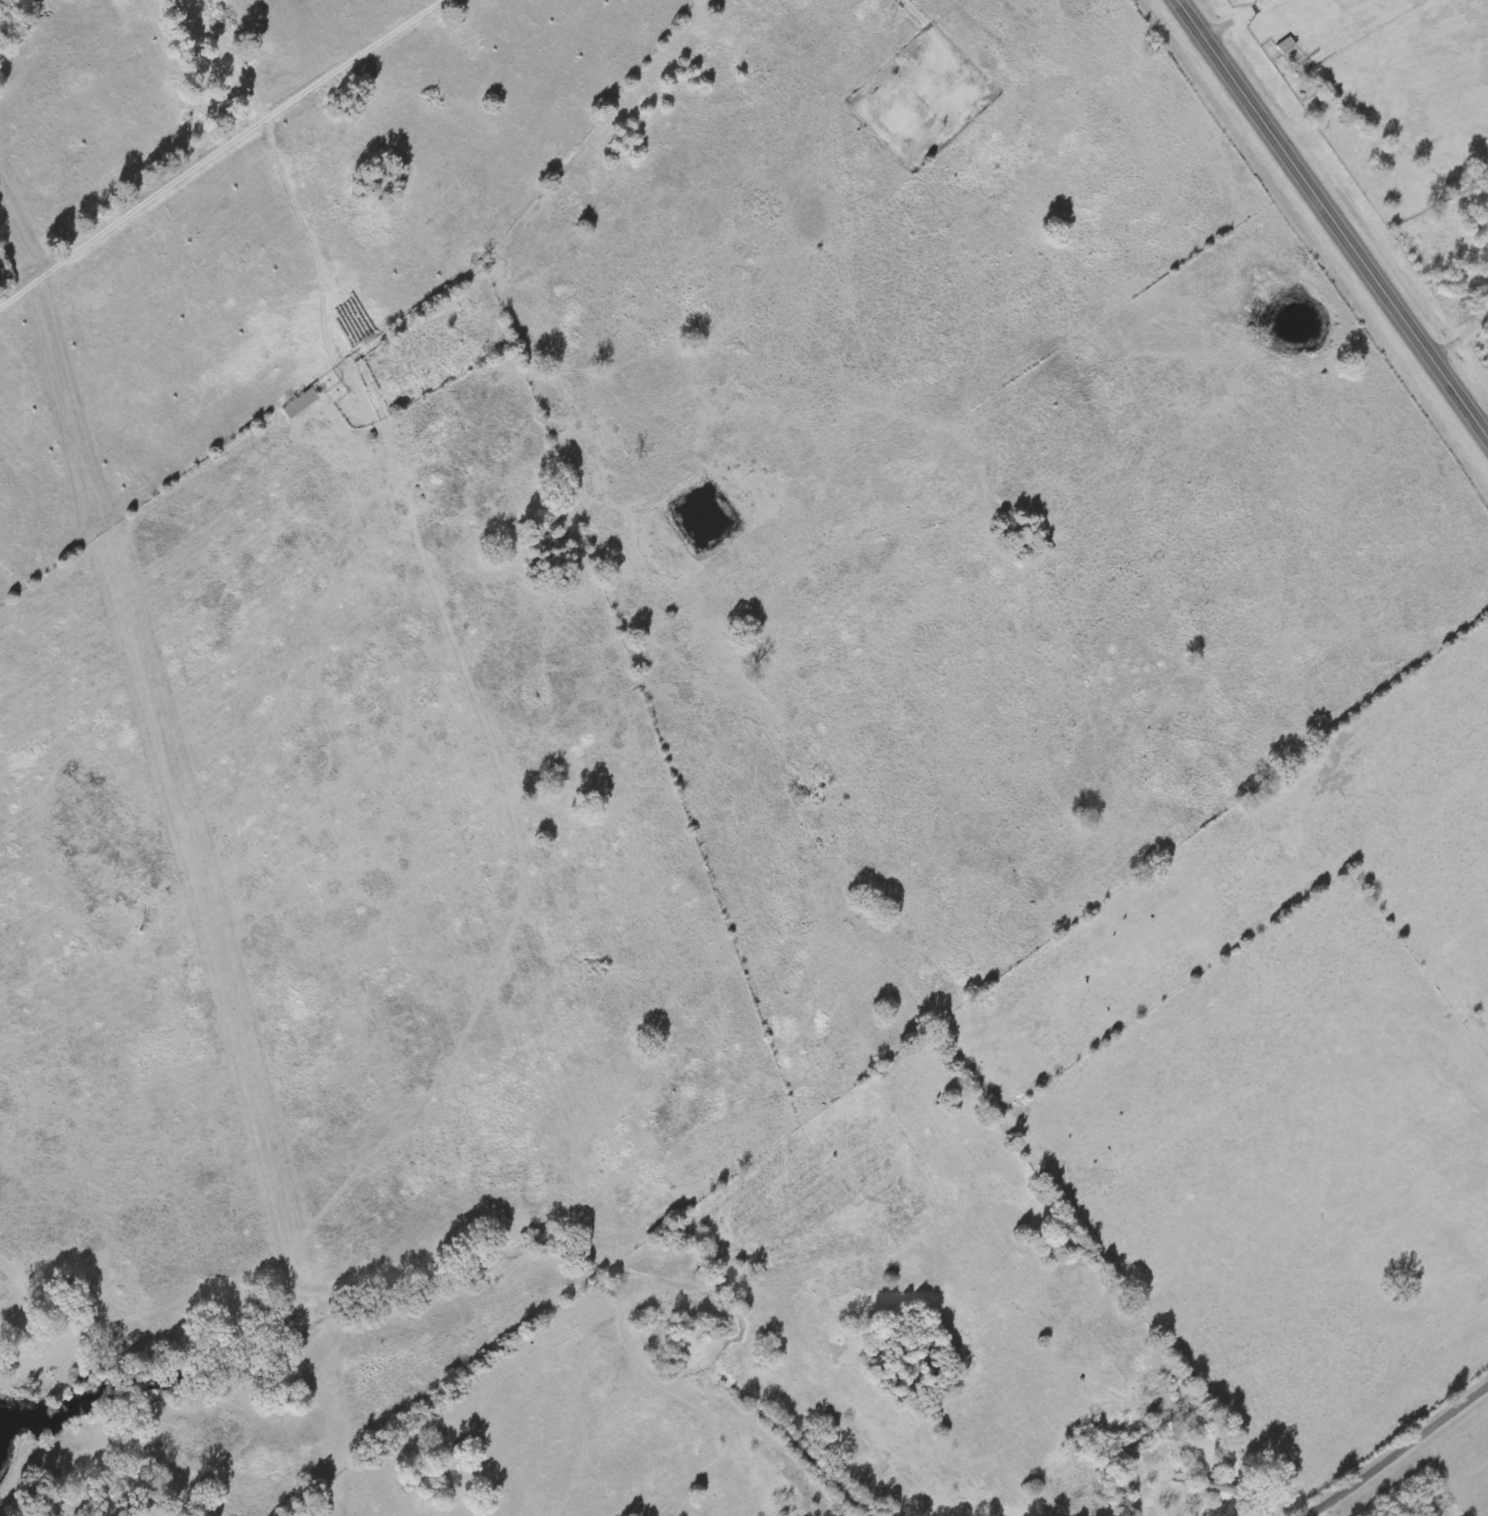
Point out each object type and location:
road: (1330, 215)
road: (1401, 1455)
building: (1221, 1491)

